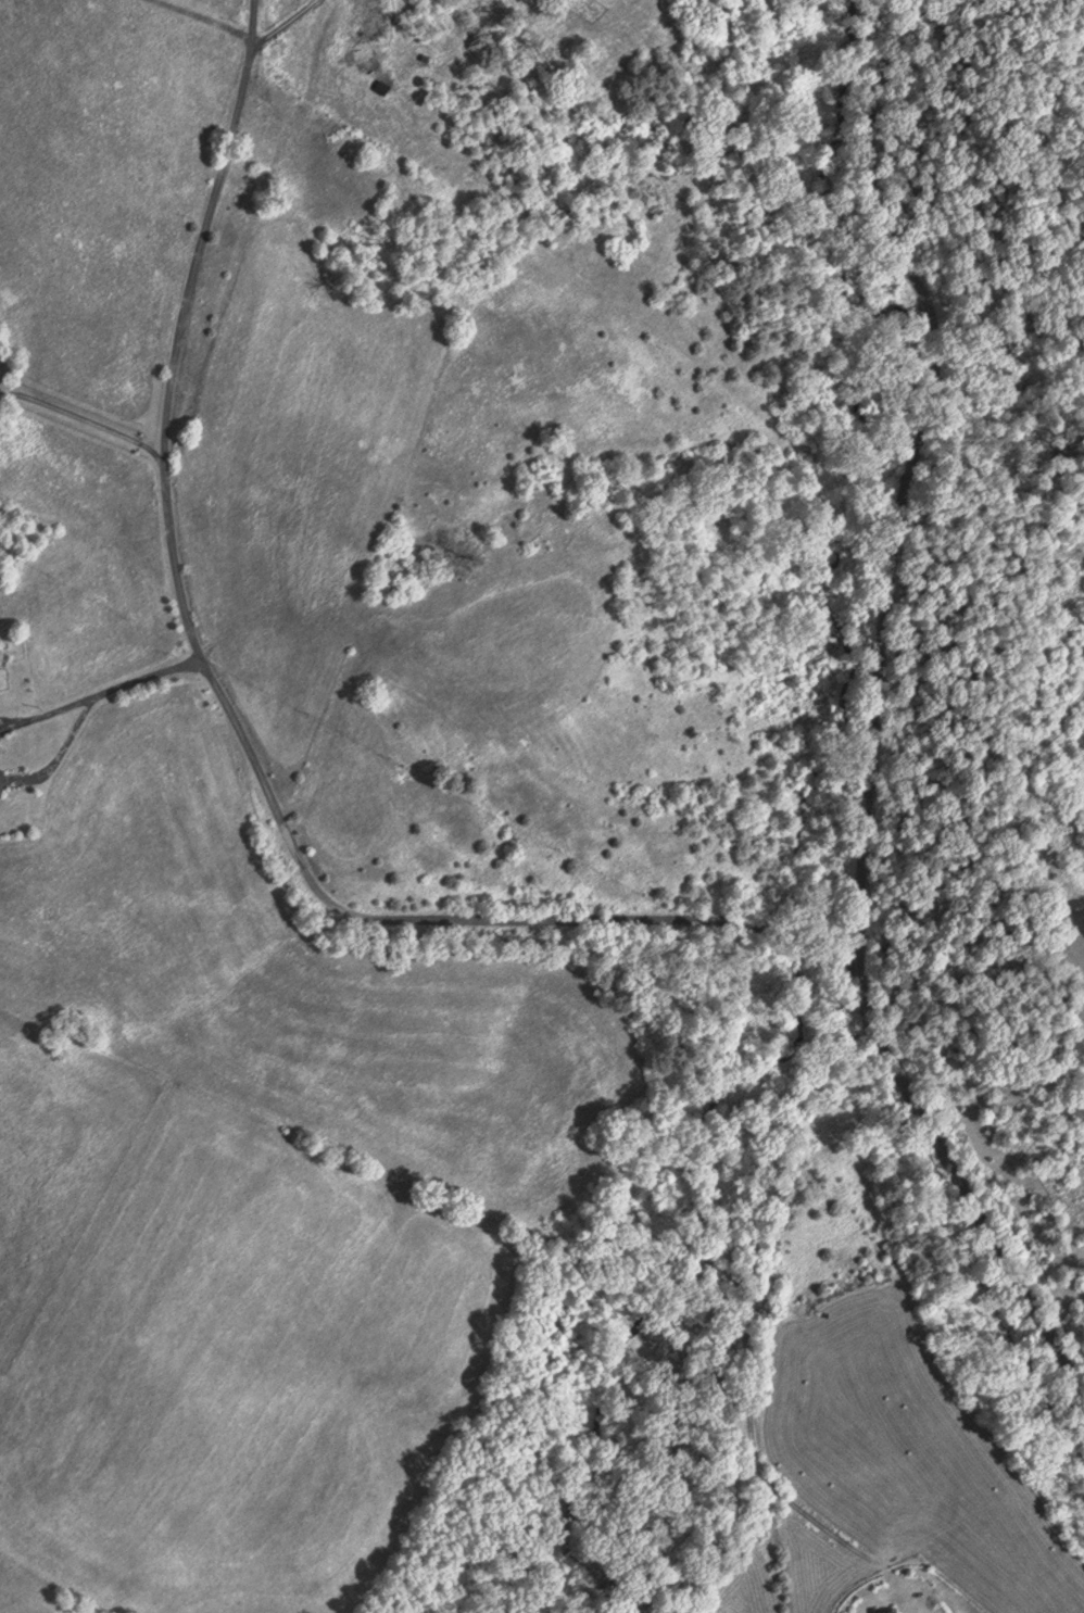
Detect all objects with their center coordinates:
road: (895, 466)
road: (241, 711)
building: (3, 781)
road: (956, 1183)
building: (886, 1610)

